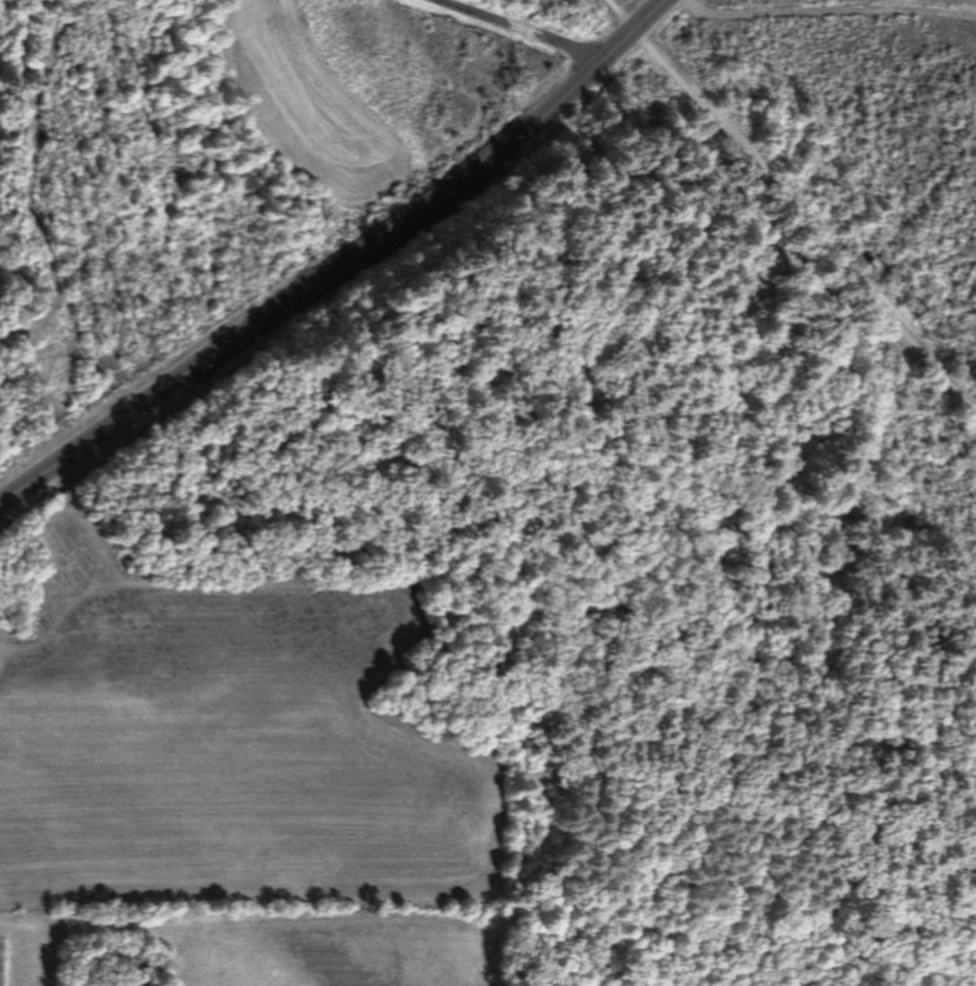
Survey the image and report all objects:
road: (621, 15)
road: (806, 219)
road: (342, 266)

